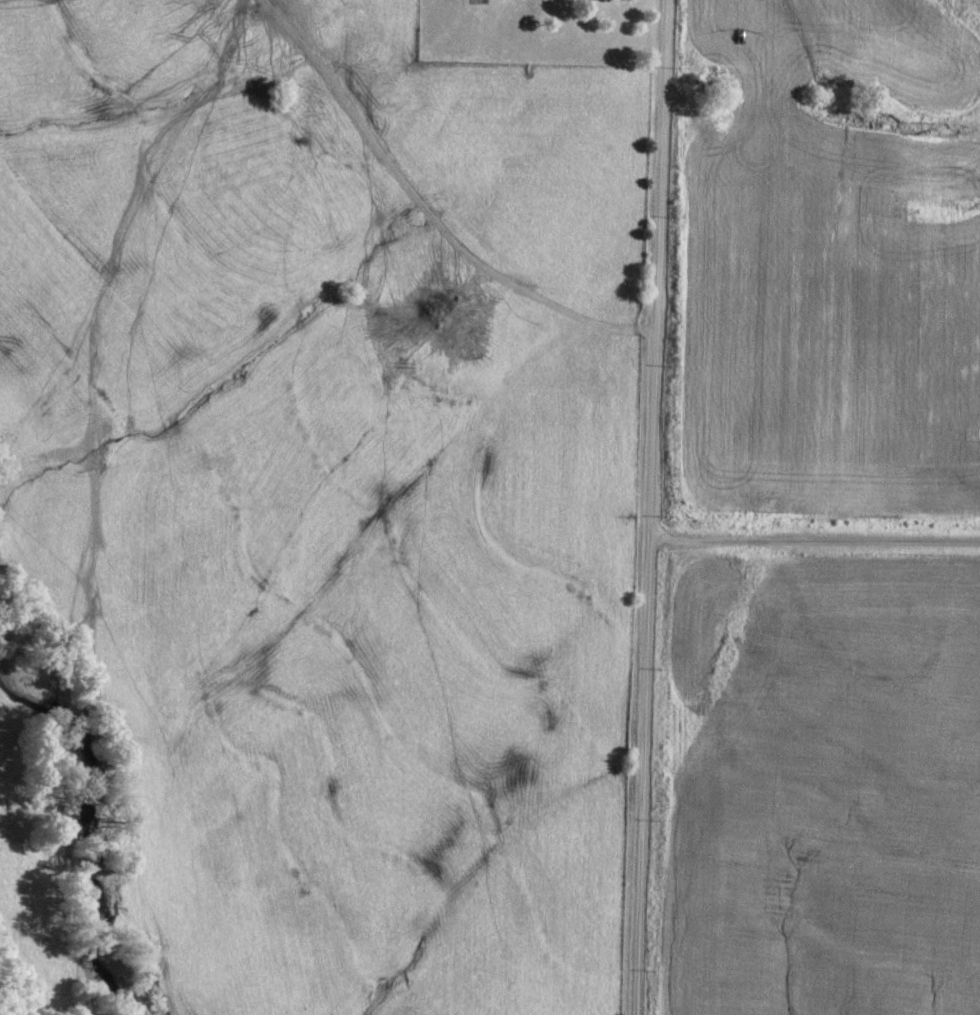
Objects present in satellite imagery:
building: (594, 0)
road: (647, 507)
road: (812, 543)

